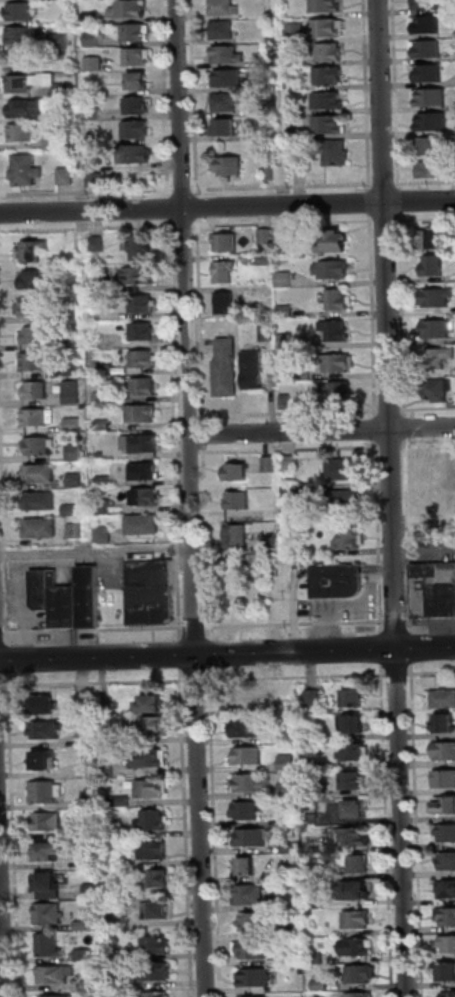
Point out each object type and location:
building: (427, 4)
building: (326, 6)
building: (225, 7)
building: (131, 9)
building: (23, 12)
building: (93, 18)
building: (427, 25)
building: (329, 28)
building: (224, 30)
building: (296, 31)
building: (136, 33)
building: (21, 35)
building: (94, 39)
building: (63, 41)
building: (427, 49)
building: (330, 52)
building: (227, 55)
building: (138, 57)
building: (296, 61)
building: (267, 62)
building: (96, 64)
building: (429, 73)
building: (330, 75)
building: (228, 78)
building: (30, 82)
building: (140, 82)
building: (295, 84)
building: (65, 90)
road: (368, 94)
road: (396, 94)
road: (196, 97)
building: (431, 97)
road: (167, 98)
building: (329, 101)
building: (228, 102)
building: (138, 106)
building: (27, 108)
building: (269, 108)
building: (95, 114)
building: (434, 123)
building: (330, 125)
building: (225, 128)
building: (138, 130)
building: (23, 133)
building: (297, 134)
building: (57, 141)
building: (434, 146)
building: (300, 151)
building: (337, 153)
building: (138, 154)
building: (230, 166)
building: (436, 170)
building: (27, 171)
building: (271, 173)
building: (68, 176)
building: (97, 180)
road: (425, 182)
road: (385, 183)
road: (284, 186)
road: (185, 189)
road: (87, 192)
road: (400, 195)
road: (371, 196)
road: (199, 202)
road: (227, 207)
road: (171, 208)
road: (181, 226)
road: (88, 228)
building: (284, 236)
building: (268, 237)
building: (432, 241)
building: (226, 242)
building: (334, 242)
building: (99, 245)
building: (141, 248)
building: (33, 252)
building: (268, 259)
building: (434, 266)
building: (334, 270)
building: (226, 272)
building: (138, 277)
building: (35, 280)
building: (286, 280)
building: (71, 289)
building: (438, 297)
building: (339, 300)
building: (227, 303)
building: (144, 305)
building: (34, 308)
building: (287, 311)
building: (437, 329)
building: (337, 331)
building: (269, 332)
building: (145, 333)
building: (36, 336)
building: (289, 341)
building: (437, 358)
building: (146, 360)
building: (36, 362)
building: (339, 363)
building: (75, 367)
building: (227, 369)
building: (109, 370)
building: (255, 371)
building: (305, 375)
building: (147, 387)
building: (437, 390)
building: (39, 391)
building: (339, 391)
building: (74, 393)
building: (104, 398)
building: (287, 402)
building: (144, 414)
building: (38, 417)
building: (75, 425)
building: (105, 425)
road: (323, 429)
road: (176, 430)
road: (407, 434)
road: (429, 445)
building: (41, 446)
building: (143, 446)
road: (398, 446)
road: (4, 453)
building: (77, 453)
building: (104, 455)
building: (292, 464)
building: (272, 465)
building: (345, 469)
building: (146, 472)
building: (42, 473)
building: (238, 473)
building: (448, 476)
building: (77, 481)
building: (106, 481)
building: (425, 488)
building: (293, 492)
building: (148, 497)
road: (193, 498)
road: (394, 498)
building: (345, 499)
building: (240, 501)
building: (43, 502)
building: (106, 507)
building: (73, 511)
building: (145, 526)
building: (43, 529)
building: (79, 532)
building: (107, 536)
building: (239, 537)
road: (410, 537)
building: (351, 539)
building: (273, 542)
road: (425, 549)
road: (97, 552)
road: (311, 571)
building: (339, 582)
building: (45, 588)
building: (434, 590)
building: (153, 593)
building: (91, 596)
building: (67, 607)
road: (363, 607)
road: (432, 619)
road: (403, 620)
road: (192, 627)
road: (95, 631)
road: (2, 634)
road: (182, 648)
road: (413, 649)
road: (10, 652)
road: (227, 653)
road: (383, 656)
road: (211, 661)
road: (432, 673)
road: (400, 674)
road: (299, 677)
road: (203, 680)
building: (315, 699)
building: (240, 700)
building: (356, 700)
building: (445, 700)
building: (149, 702)
building: (44, 703)
building: (447, 724)
building: (149, 725)
building: (357, 725)
building: (44, 729)
building: (247, 729)
building: (445, 751)
building: (357, 754)
building: (250, 756)
building: (149, 757)
building: (43, 758)
building: (288, 763)
building: (446, 779)
building: (356, 782)
building: (255, 783)
building: (150, 787)
building: (290, 790)
building: (45, 791)
building: (446, 806)
building: (358, 809)
building: (250, 810)
building: (151, 818)
building: (45, 819)
building: (313, 820)
building: (292, 821)
road: (389, 830)
road: (419, 830)
road: (217, 832)
building: (447, 833)
building: (254, 838)
building: (341, 840)
building: (292, 847)
building: (151, 849)
building: (47, 850)
building: (449, 861)
building: (363, 865)
building: (248, 868)
building: (156, 877)
building: (47, 884)
building: (448, 890)
building: (357, 892)
building: (252, 896)
building: (316, 903)
road: (3, 904)
building: (158, 909)
building: (46, 912)
building: (447, 917)
building: (359, 920)
building: (257, 923)
building: (293, 930)
building: (48, 943)
building: (155, 943)
building: (449, 945)
building: (359, 947)
building: (252, 950)
building: (82, 953)
building: (293, 958)
building: (319, 959)
building: (155, 970)
building: (55, 973)
building: (448, 973)
building: (361, 975)
building: (257, 978)
building: (322, 987)
building: (156, 994)
building: (53, 995)
building: (362, 995)
building: (450, 995)
building: (253, 996)

